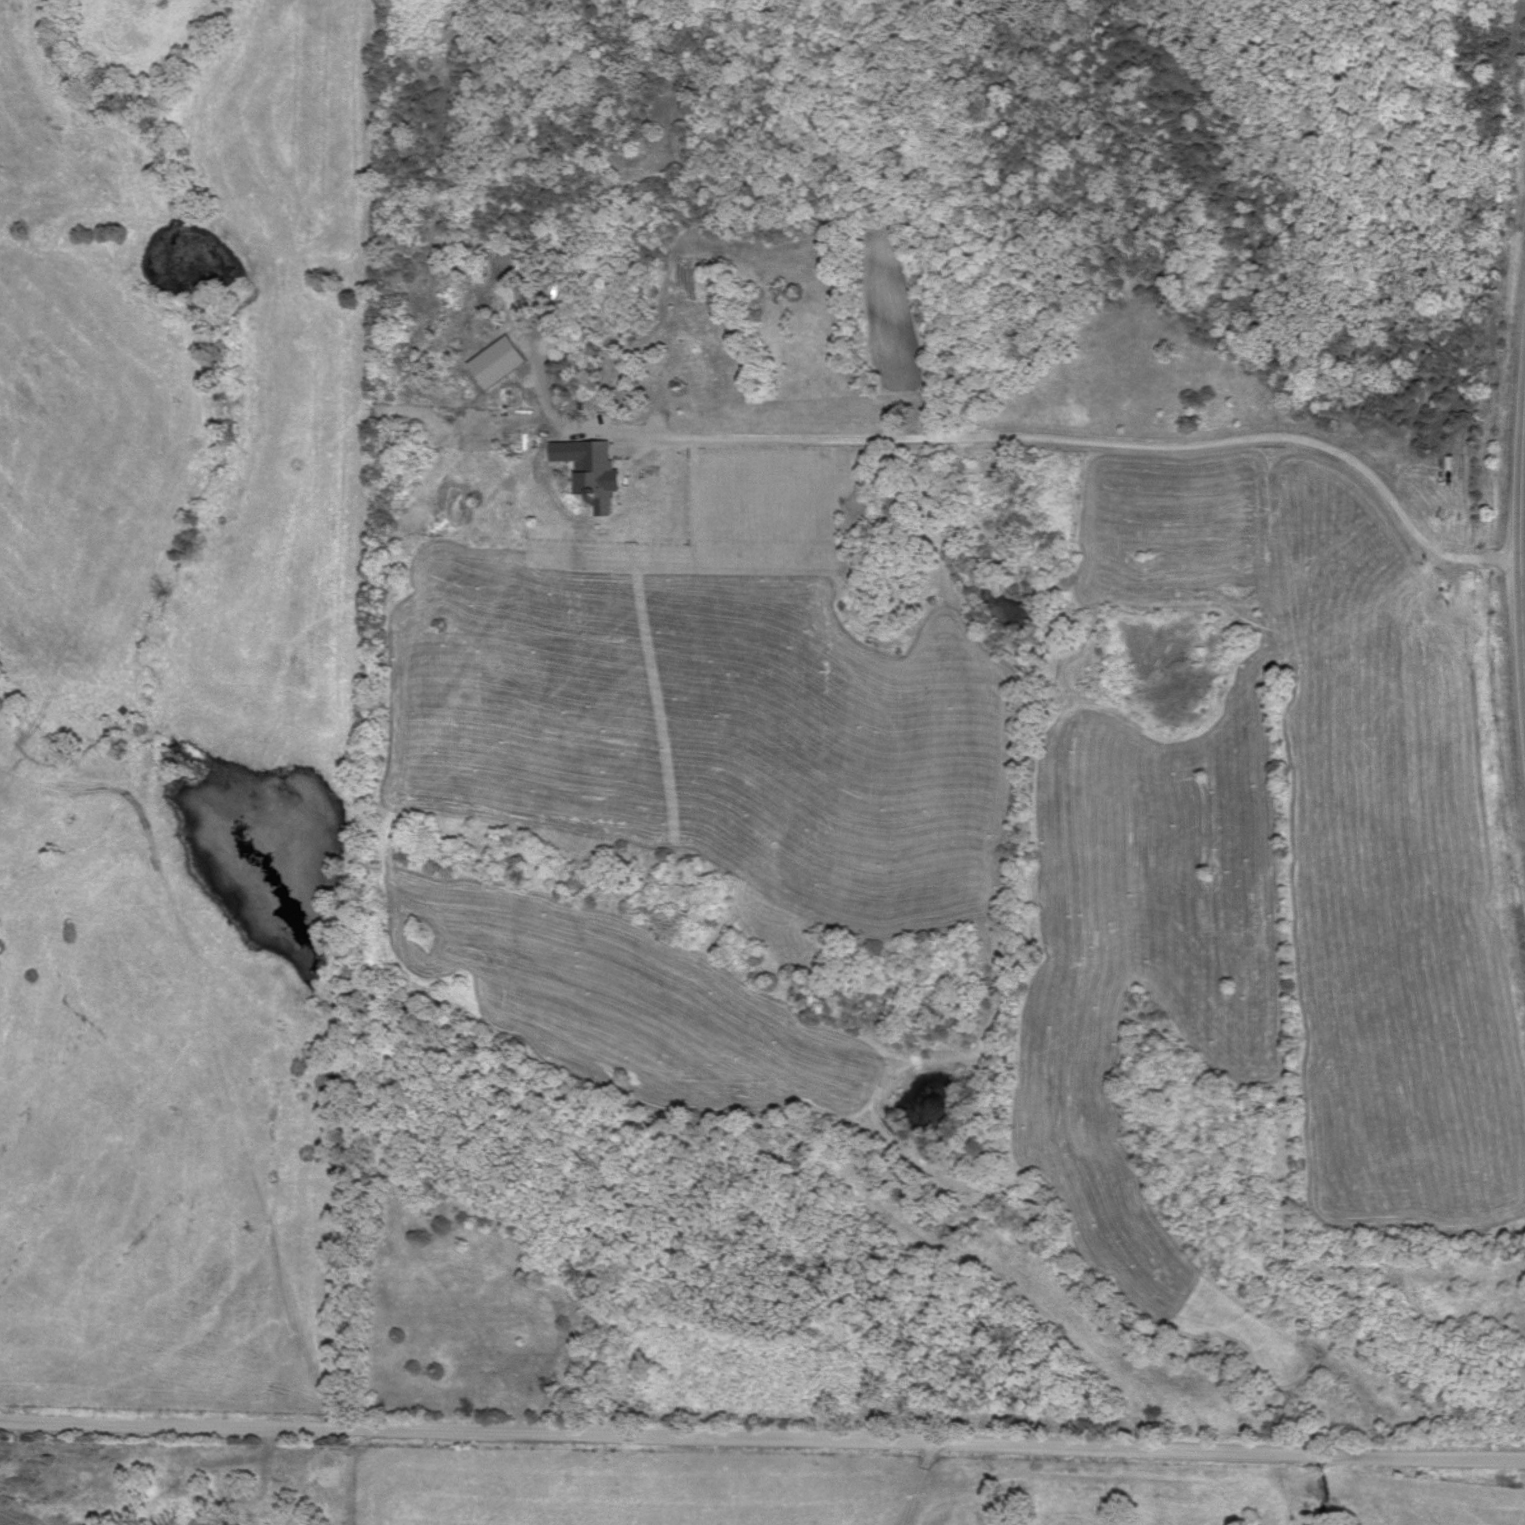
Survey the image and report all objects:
building: (554, 351)
building: (493, 365)
building: (594, 476)
road: (1514, 552)
road: (760, 1454)
road: (913, 1490)

